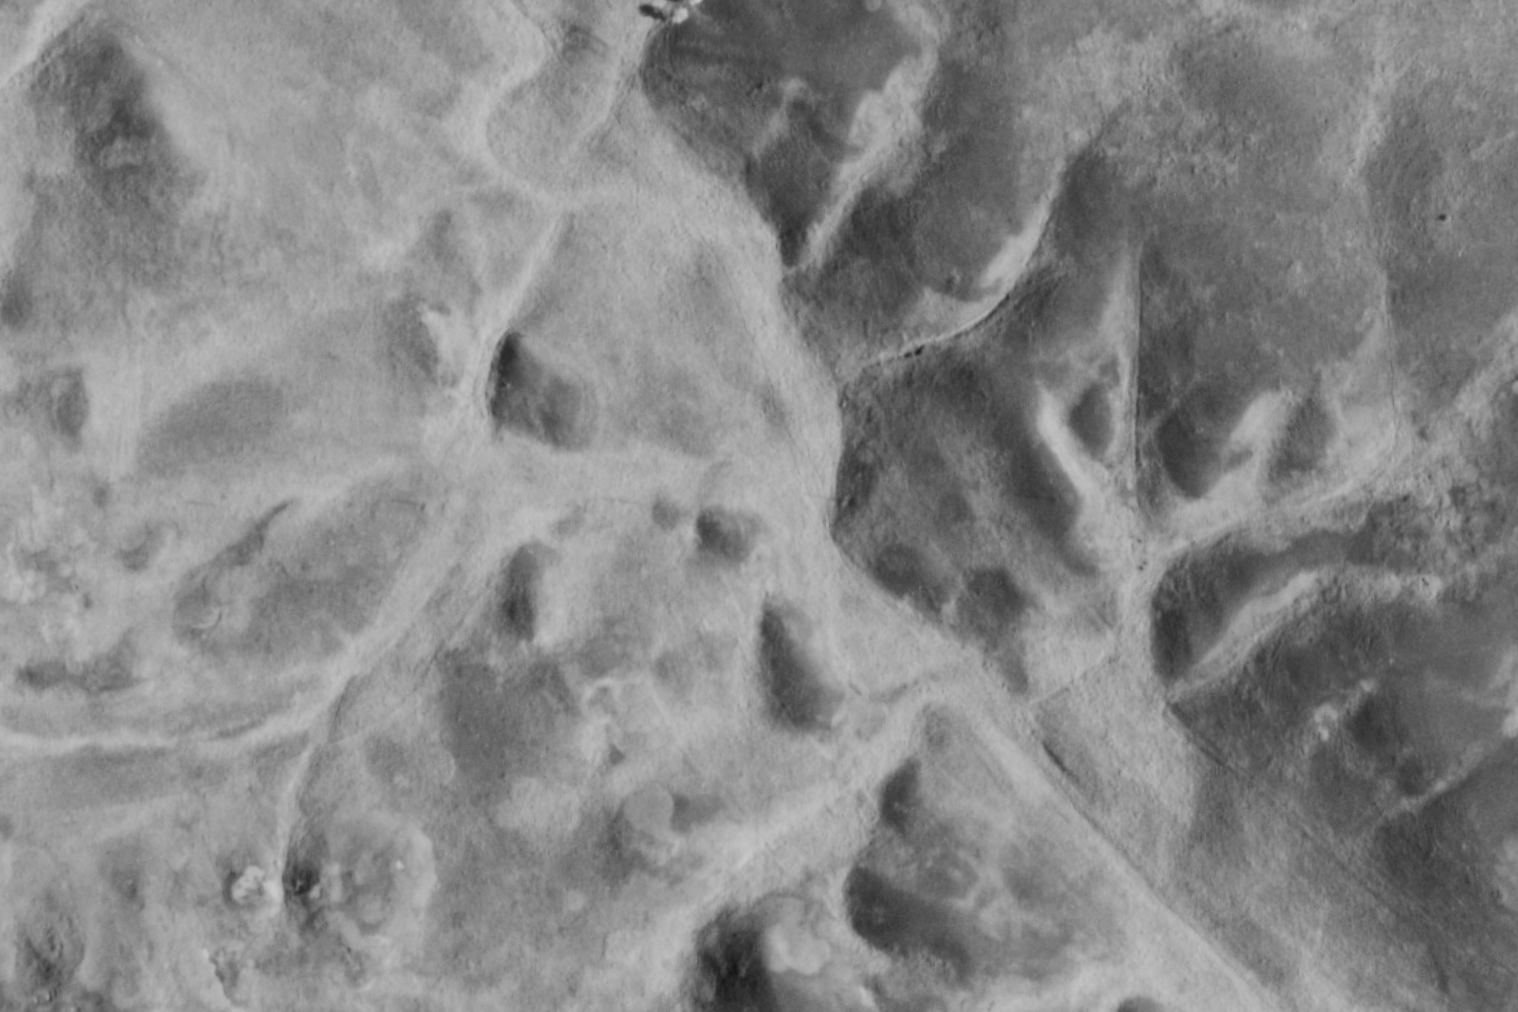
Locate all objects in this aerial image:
road: (1418, 29)

